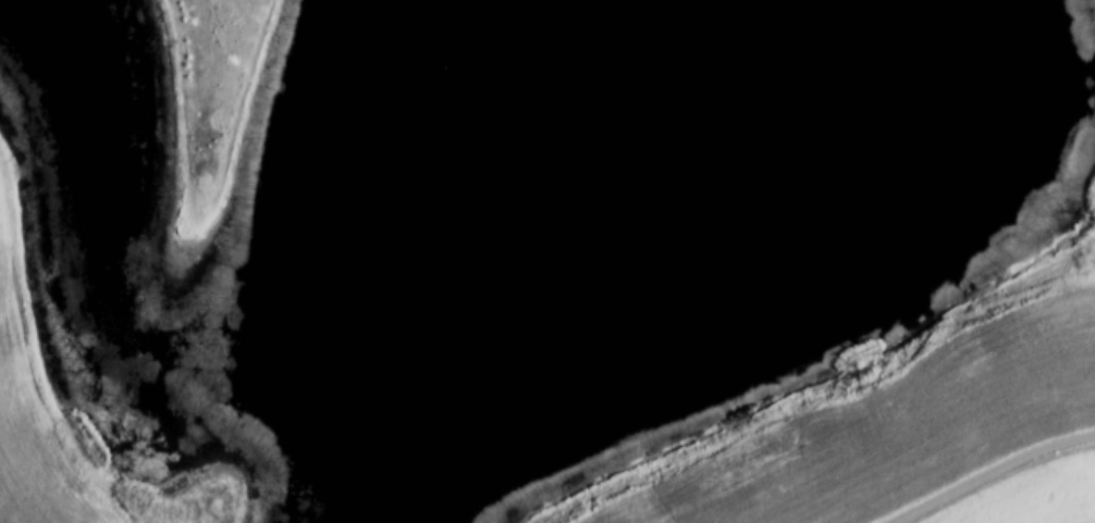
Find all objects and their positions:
road: (968, 468)

